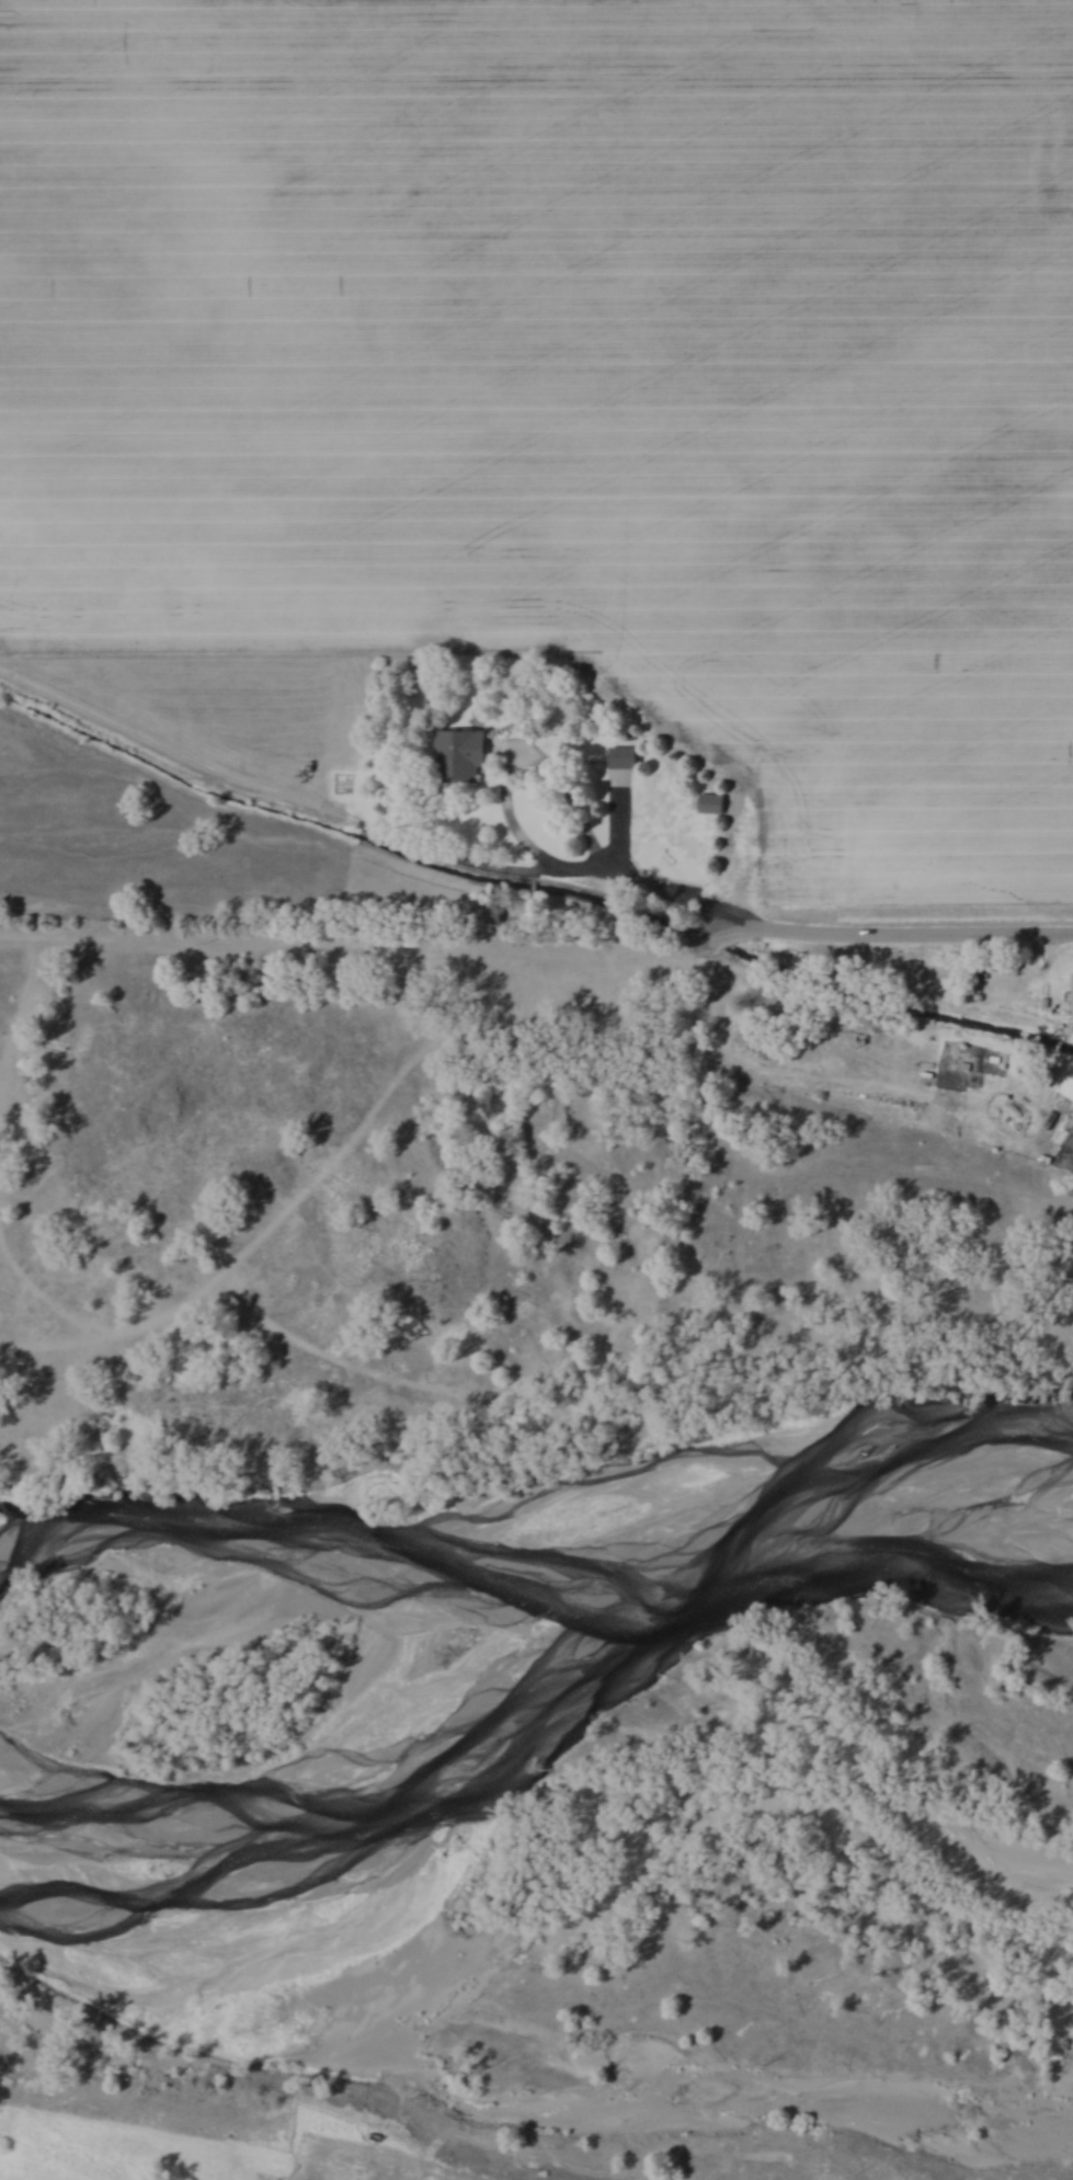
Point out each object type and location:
crop: (579, 369)
building: (464, 756)
building: (626, 757)
road: (523, 774)
building: (711, 800)
road: (671, 886)
building: (490, 916)
road: (903, 929)
building: (1072, 996)
building: (1069, 1082)
river: (564, 1699)

